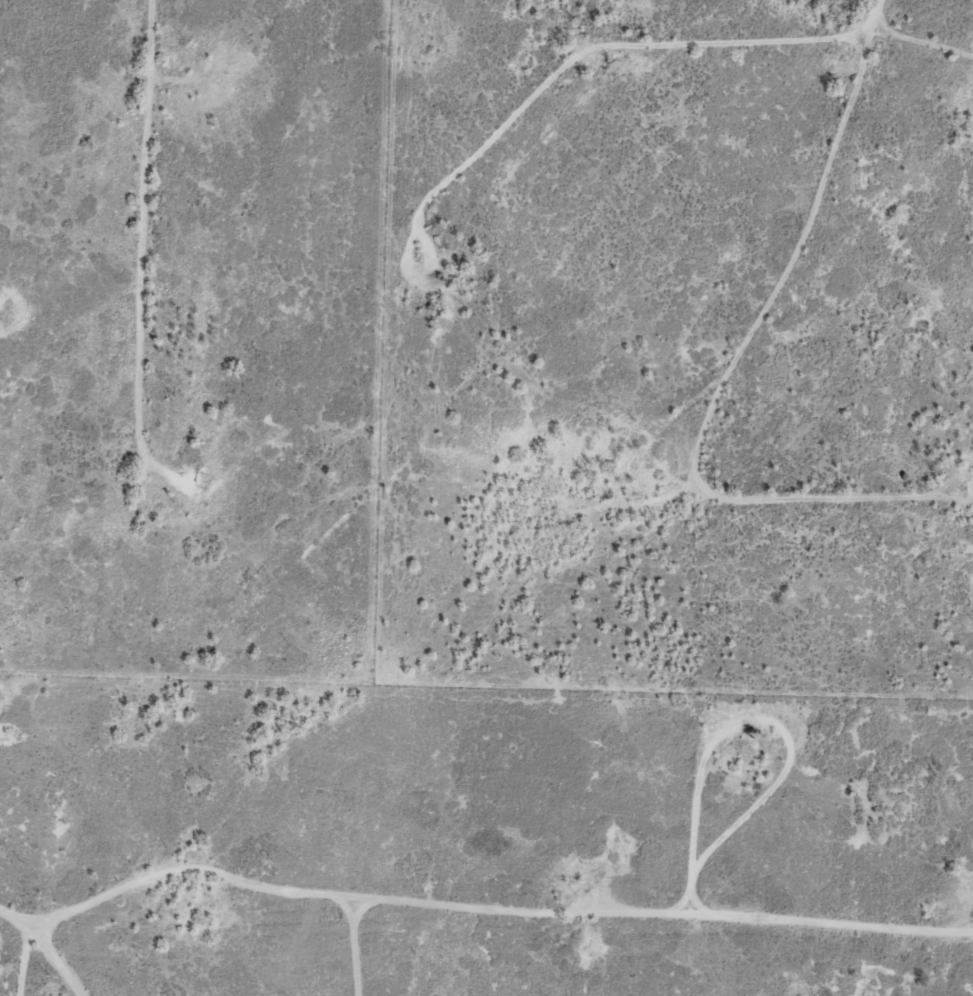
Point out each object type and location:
road: (819, 51)
road: (203, 340)
road: (785, 348)
road: (471, 894)
road: (119, 958)
road: (632, 961)

